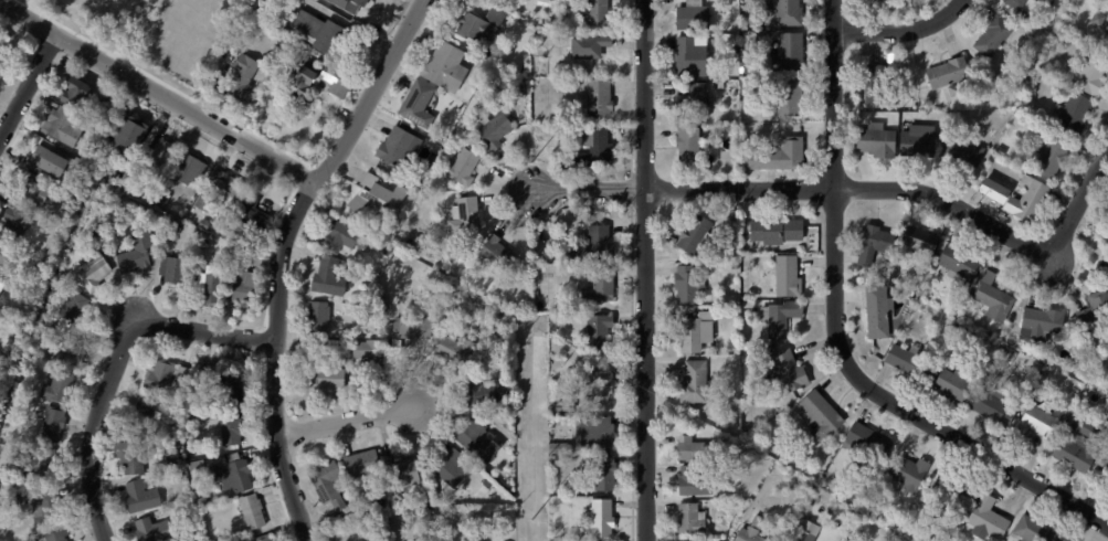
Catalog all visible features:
building: (1030, 0)
building: (1036, 0)
building: (333, 1)
building: (887, 1)
building: (1013, 4)
building: (356, 6)
building: (783, 12)
building: (600, 13)
building: (689, 17)
building: (745, 20)
power tower: (530, 21)
building: (484, 24)
building: (255, 28)
park: (160, 29)
road: (906, 31)
building: (1106, 32)
building: (324, 33)
building: (991, 38)
building: (4, 42)
building: (1106, 43)
building: (593, 45)
building: (785, 53)
building: (975, 56)
building: (689, 59)
building: (449, 66)
building: (948, 73)
building: (1089, 75)
building: (244, 78)
building: (340, 84)
road: (27, 86)
building: (874, 86)
building: (524, 88)
building: (952, 92)
road: (157, 93)
building: (81, 94)
road: (374, 94)
building: (920, 96)
building: (602, 97)
building: (785, 98)
building: (418, 102)
building: (694, 103)
building: (1070, 116)
building: (66, 125)
building: (497, 130)
building: (94, 132)
building: (133, 137)
building: (875, 142)
building: (917, 145)
building: (401, 148)
building: (595, 149)
building: (685, 150)
building: (165, 152)
building: (962, 152)
building: (999, 152)
building: (774, 157)
building: (1049, 158)
building: (50, 162)
building: (465, 168)
building: (192, 169)
road: (855, 190)
building: (33, 191)
road: (589, 191)
building: (993, 191)
building: (222, 192)
building: (379, 194)
road: (836, 197)
building: (163, 200)
building: (1026, 201)
road: (1079, 203)
building: (256, 214)
building: (468, 214)
building: (732, 214)
building: (1107, 216)
building: (18, 220)
building: (207, 221)
building: (175, 227)
building: (412, 229)
building: (773, 231)
building: (693, 234)
building: (348, 236)
building: (918, 240)
building: (602, 242)
building: (873, 244)
building: (140, 252)
building: (389, 252)
building: (51, 255)
building: (498, 255)
building: (576, 256)
building: (8, 258)
building: (695, 264)
building: (957, 264)
building: (1104, 268)
building: (176, 269)
road: (646, 269)
building: (96, 270)
building: (68, 275)
building: (785, 276)
building: (0, 277)
building: (331, 277)
building: (210, 282)
building: (40, 283)
building: (245, 284)
building: (603, 285)
building: (684, 285)
building: (366, 291)
building: (908, 293)
building: (537, 295)
building: (990, 297)
building: (74, 308)
building: (1095, 310)
building: (875, 311)
building: (13, 316)
building: (781, 317)
building: (321, 319)
building: (504, 320)
building: (1037, 323)
building: (555, 326)
building: (415, 328)
power tower: (531, 328)
building: (953, 329)
building: (602, 330)
road: (204, 331)
building: (690, 331)
building: (746, 348)
building: (71, 351)
building: (458, 351)
building: (372, 357)
road: (275, 360)
building: (908, 362)
building: (787, 371)
building: (168, 375)
building: (327, 380)
building: (692, 382)
building: (1036, 383)
building: (953, 384)
building: (229, 385)
building: (61, 388)
building: (602, 390)
building: (484, 391)
building: (992, 406)
building: (564, 407)
building: (42, 415)
building: (149, 416)
building: (817, 417)
road: (347, 423)
building: (1033, 423)
building: (56, 424)
road: (92, 427)
building: (233, 428)
building: (599, 433)
building: (477, 437)
building: (865, 443)
building: (1076, 445)
building: (564, 448)
building: (697, 449)
building: (134, 456)
road: (985, 456)
building: (563, 460)
building: (1105, 463)
building: (365, 464)
building: (177, 465)
building: (200, 465)
building: (39, 466)
building: (453, 467)
building: (737, 467)
building: (609, 473)
building: (905, 474)
building: (235, 475)
building: (405, 475)
building: (692, 481)
building: (331, 486)
building: (1107, 489)
building: (145, 497)
building: (954, 497)
building: (9, 501)
building: (204, 501)
building: (858, 503)
building: (441, 506)
building: (50, 510)
building: (255, 511)
building: (462, 515)
building: (355, 516)
building: (794, 517)
building: (605, 518)
building: (688, 518)
building: (986, 518)
building: (156, 530)
building: (750, 531)
building: (1033, 531)
building: (808, 532)
building: (62, 534)
building: (713, 537)
building: (266, 538)
building: (199, 540)
building: (694, 540)
building: (929, 540)

